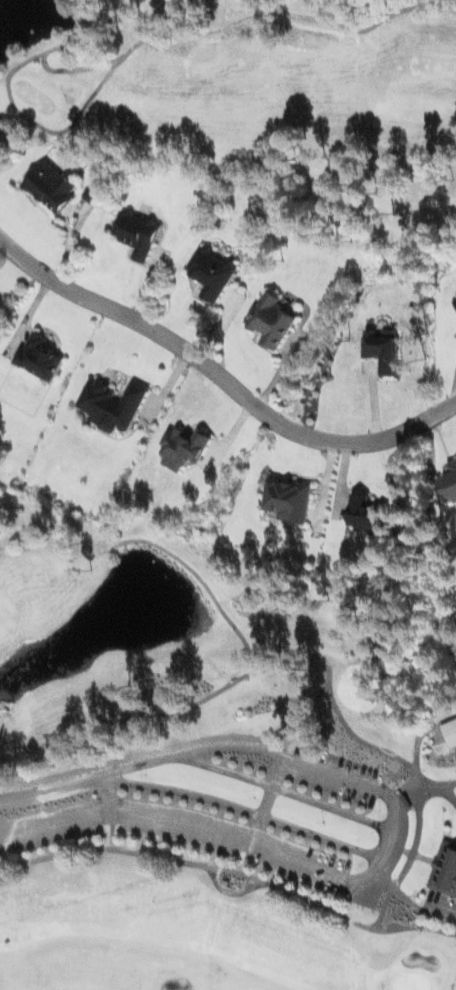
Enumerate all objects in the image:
park: (263, 99)
building: (51, 186)
building: (139, 233)
building: (212, 272)
building: (271, 320)
building: (384, 348)
building: (39, 357)
road: (221, 374)
building: (112, 405)
building: (183, 448)
building: (450, 482)
building: (289, 499)
building: (367, 514)
building: (451, 732)
park: (222, 768)
road: (56, 789)
road: (348, 847)
building: (445, 869)

